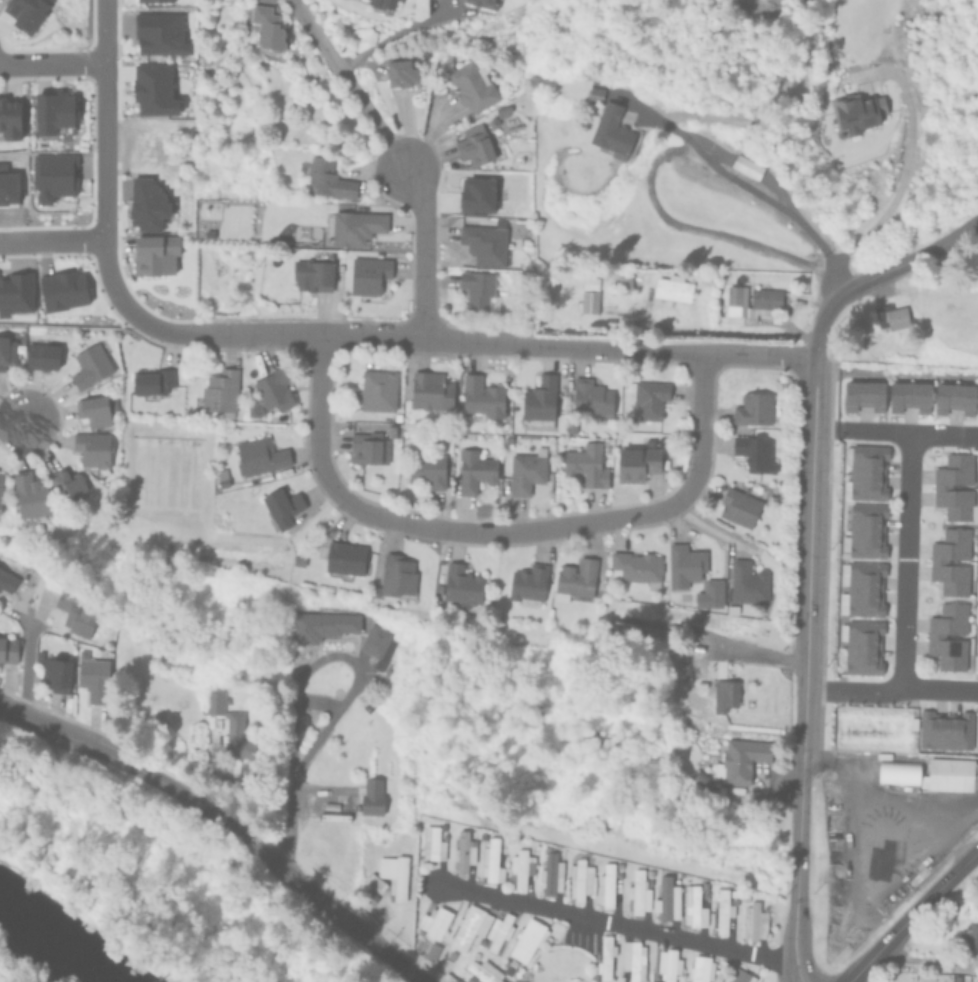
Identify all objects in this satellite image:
building: (153, 0)
building: (486, 2)
building: (382, 3)
building: (25, 13)
building: (267, 28)
building: (160, 33)
road: (393, 35)
road: (51, 59)
building: (401, 73)
building: (526, 75)
road: (351, 82)
building: (471, 83)
building: (153, 89)
building: (594, 92)
building: (856, 110)
building: (53, 112)
building: (8, 116)
building: (492, 120)
building: (612, 131)
building: (473, 144)
building: (746, 165)
road: (904, 170)
building: (53, 175)
building: (326, 178)
road: (744, 188)
building: (476, 195)
road: (103, 197)
building: (146, 204)
building: (351, 225)
road: (52, 239)
building: (483, 242)
road: (424, 251)
building: (155, 253)
building: (312, 271)
building: (368, 273)
road: (878, 273)
building: (680, 287)
building: (476, 288)
building: (63, 289)
building: (16, 293)
building: (588, 295)
building: (750, 303)
building: (890, 316)
road: (309, 335)
building: (10, 345)
road: (616, 350)
building: (41, 355)
building: (89, 363)
building: (150, 381)
building: (219, 389)
building: (273, 389)
building: (375, 389)
building: (429, 389)
building: (863, 395)
building: (480, 396)
building: (908, 396)
building: (590, 397)
building: (954, 397)
building: (648, 398)
building: (538, 401)
building: (251, 407)
building: (94, 408)
building: (754, 408)
road: (319, 415)
road: (11, 420)
road: (701, 426)
building: (391, 430)
road: (909, 431)
building: (364, 446)
building: (92, 449)
building: (753, 452)
building: (256, 455)
building: (636, 462)
building: (585, 463)
building: (426, 466)
building: (473, 470)
building: (525, 470)
building: (865, 472)
building: (221, 476)
building: (65, 480)
building: (941, 486)
building: (0, 488)
building: (28, 493)
road: (810, 494)
building: (281, 502)
building: (738, 506)
building: (977, 516)
building: (865, 530)
road: (510, 532)
building: (297, 556)
building: (344, 557)
road: (906, 559)
building: (937, 562)
building: (684, 564)
building: (635, 567)
building: (396, 573)
building: (574, 577)
building: (7, 578)
building: (528, 582)
building: (461, 583)
building: (746, 583)
building: (436, 587)
building: (374, 588)
building: (861, 588)
building: (976, 589)
building: (709, 593)
building: (731, 608)
building: (74, 611)
building: (976, 611)
building: (322, 622)
building: (620, 624)
building: (935, 636)
building: (376, 642)
building: (861, 645)
building: (8, 646)
road: (737, 647)
road: (27, 657)
building: (975, 661)
building: (700, 665)
building: (56, 671)
building: (93, 676)
road: (891, 688)
road: (803, 691)
building: (724, 692)
building: (366, 704)
building: (229, 722)
building: (912, 722)
building: (945, 728)
road: (45, 729)
building: (977, 733)
building: (739, 757)
road: (301, 763)
building: (897, 770)
building: (698, 773)
building: (950, 773)
building: (370, 794)
building: (346, 830)
building: (432, 842)
building: (462, 849)
road: (262, 853)
building: (492, 859)
building: (521, 865)
road: (798, 867)
building: (550, 870)
building: (393, 873)
building: (579, 877)
building: (605, 883)
building: (373, 885)
building: (635, 888)
building: (664, 895)
building: (693, 905)
building: (721, 909)
road: (911, 915)
building: (755, 918)
building: (433, 920)
building: (468, 924)
road: (618, 926)
building: (498, 929)
building: (968, 935)
building: (526, 937)
river: (51, 943)
building: (430, 948)
building: (604, 955)
building: (633, 958)
building: (967, 962)
building: (670, 964)
building: (507, 965)
building: (699, 968)
building: (482, 971)
building: (716, 976)
building: (737, 976)

